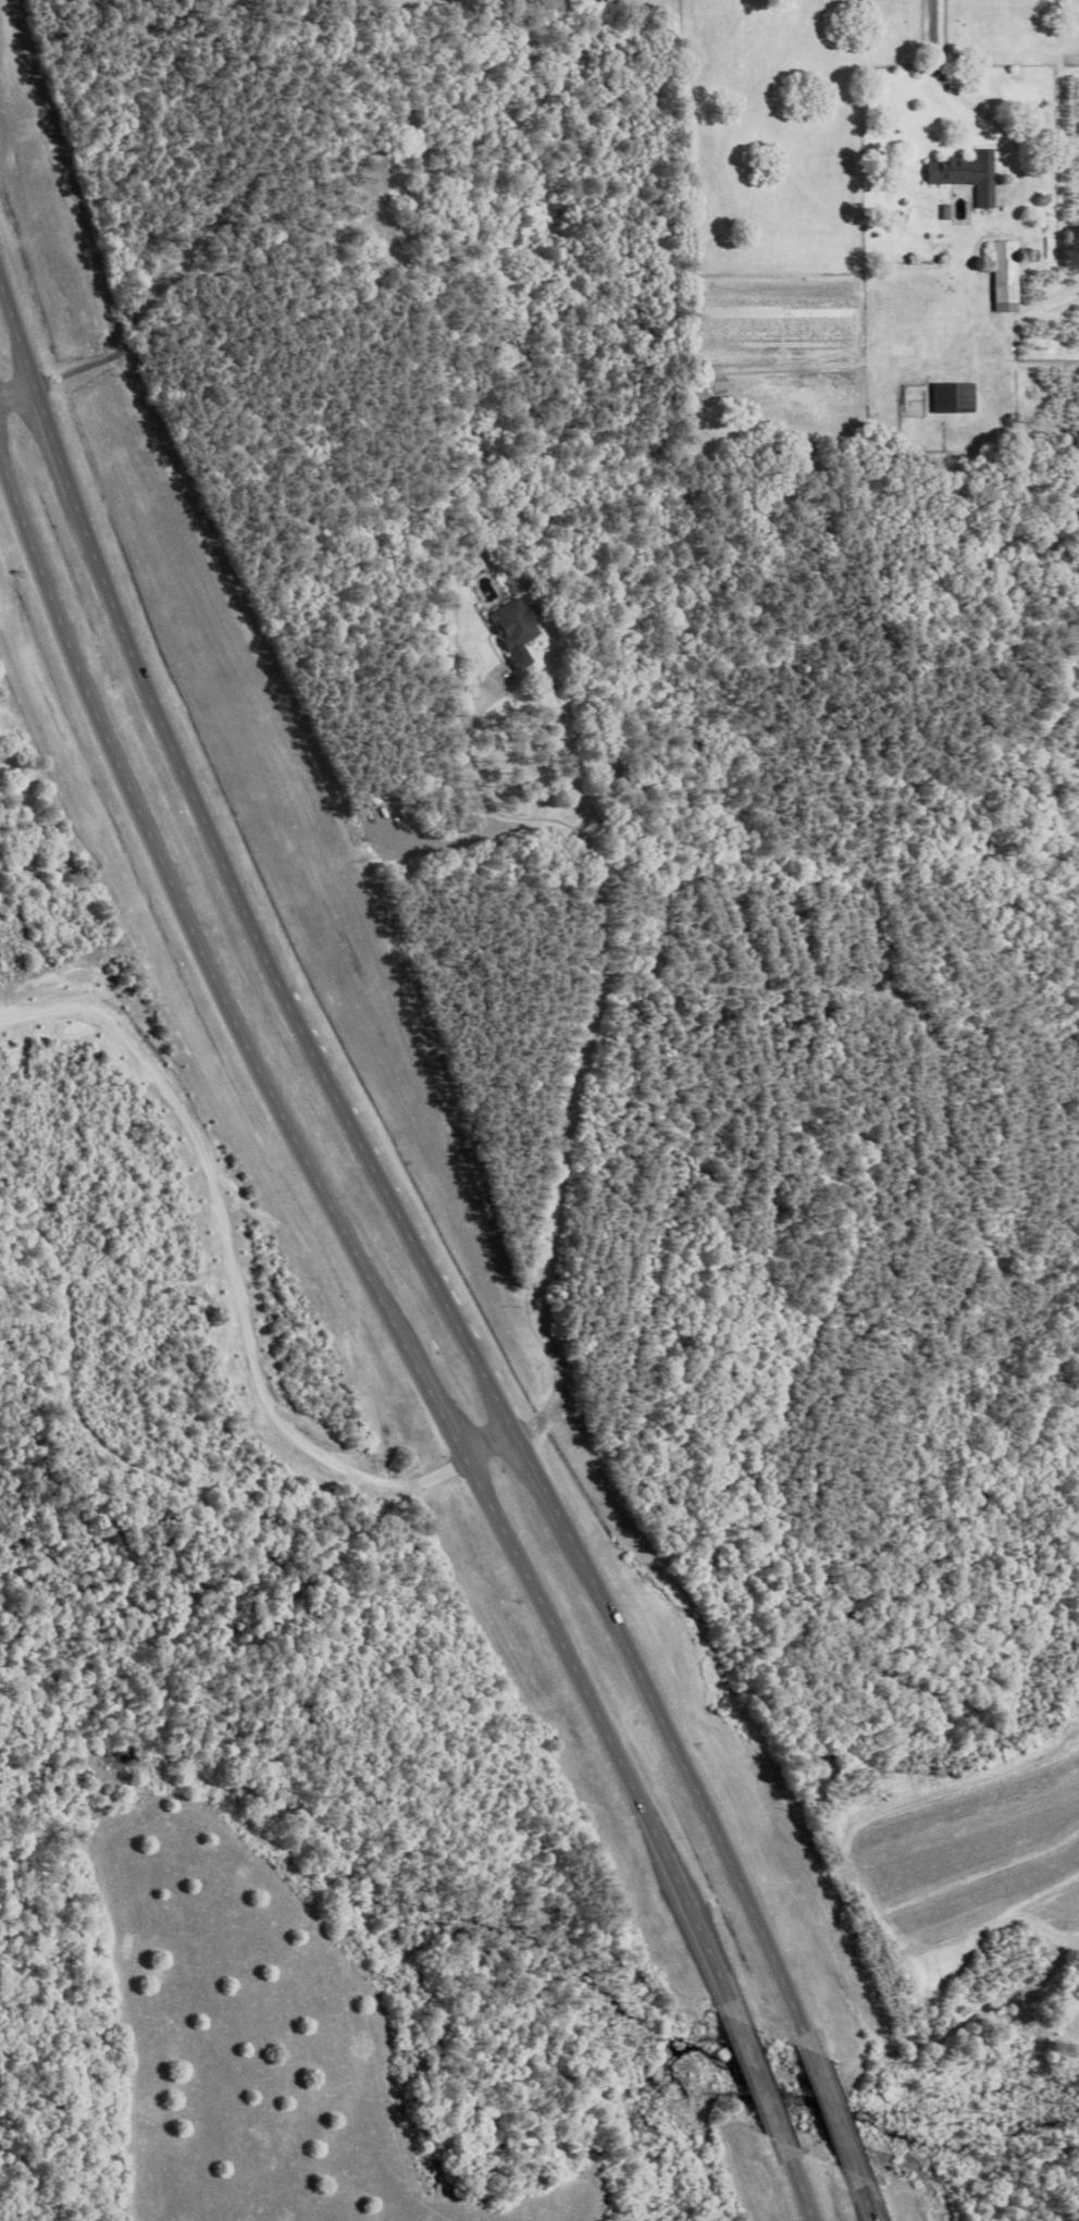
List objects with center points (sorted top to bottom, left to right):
road: (954, 85)
building: (969, 172)
building: (1006, 276)
building: (954, 398)
building: (512, 629)
road: (49, 1011)
road: (582, 1039)
road: (967, 1057)
road: (404, 1255)
road: (235, 1292)
road: (382, 1342)

